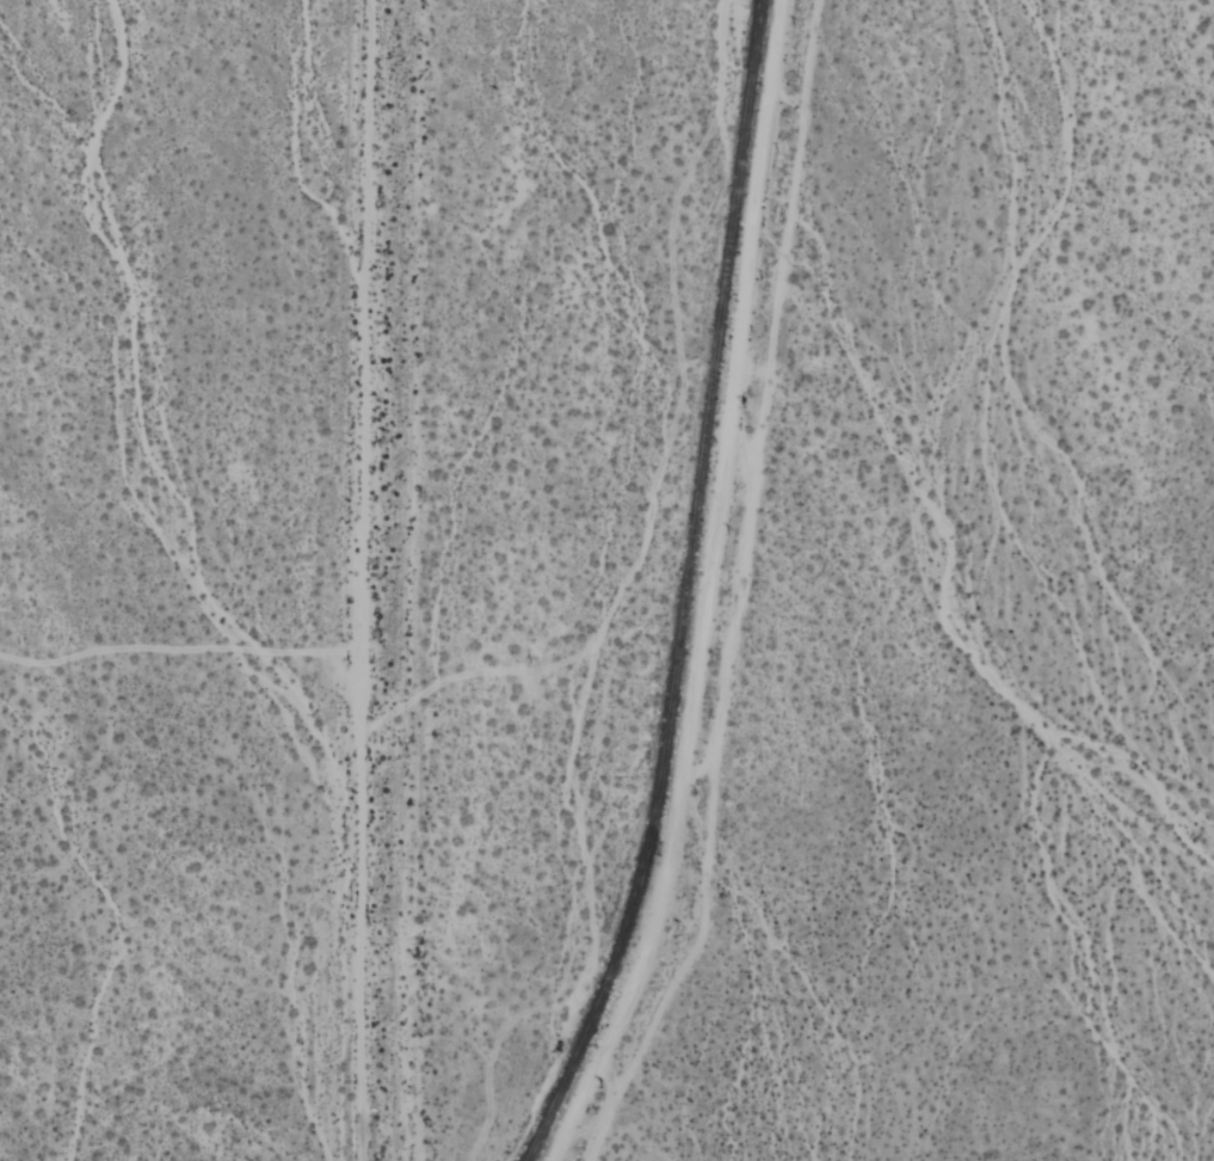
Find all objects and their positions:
railway: (688, 590)
road: (701, 591)

